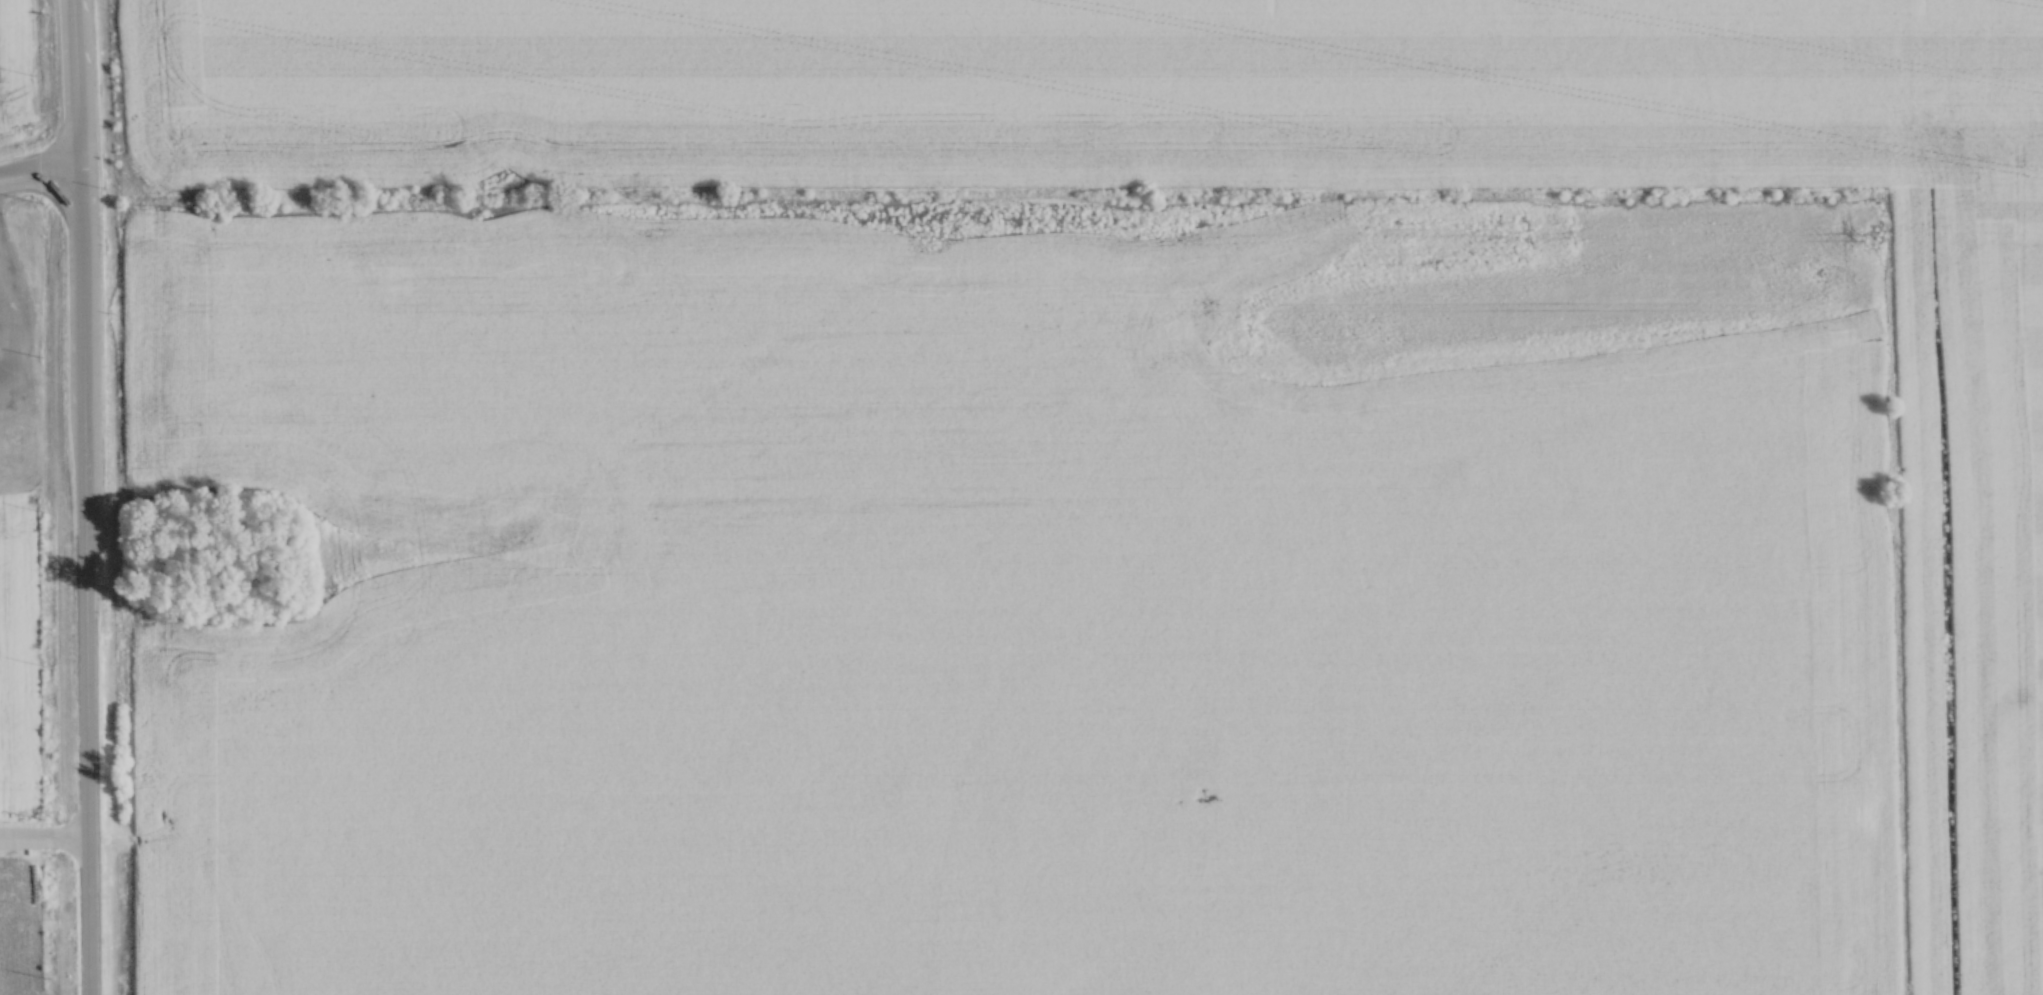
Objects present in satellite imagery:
road: (75, 81)
road: (39, 169)
road: (81, 293)
road: (18, 323)
road: (85, 710)
road: (43, 838)

